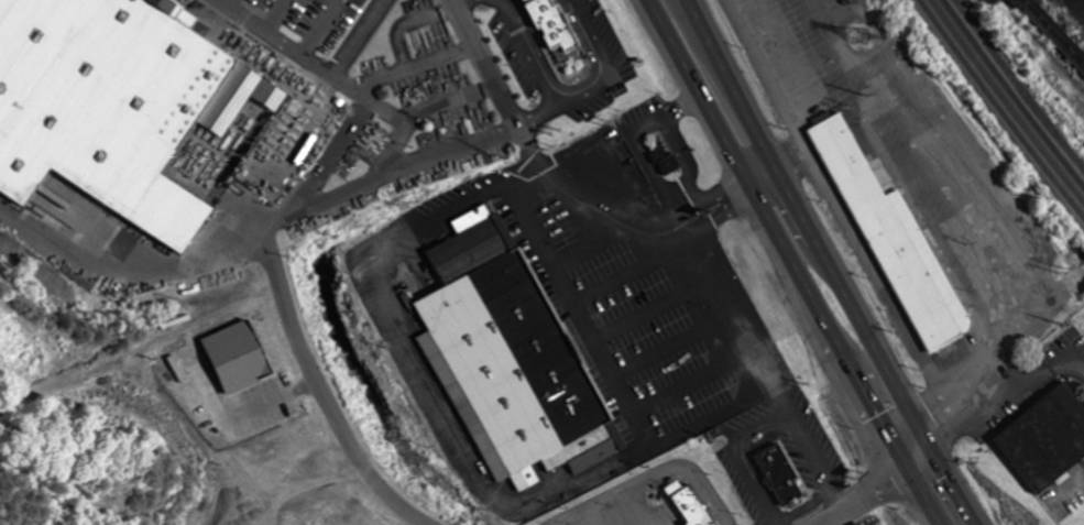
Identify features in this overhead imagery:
parking lot: (319, 20)
building: (541, 22)
railway: (1033, 57)
building: (577, 68)
road: (500, 84)
railway: (1019, 85)
railway: (1012, 94)
railway: (1006, 101)
building: (116, 103)
railway: (999, 109)
building: (658, 158)
building: (894, 243)
road: (790, 264)
road: (826, 264)
building: (507, 359)
road: (318, 386)
building: (1044, 437)
building: (778, 475)
road: (873, 488)
building: (688, 504)

